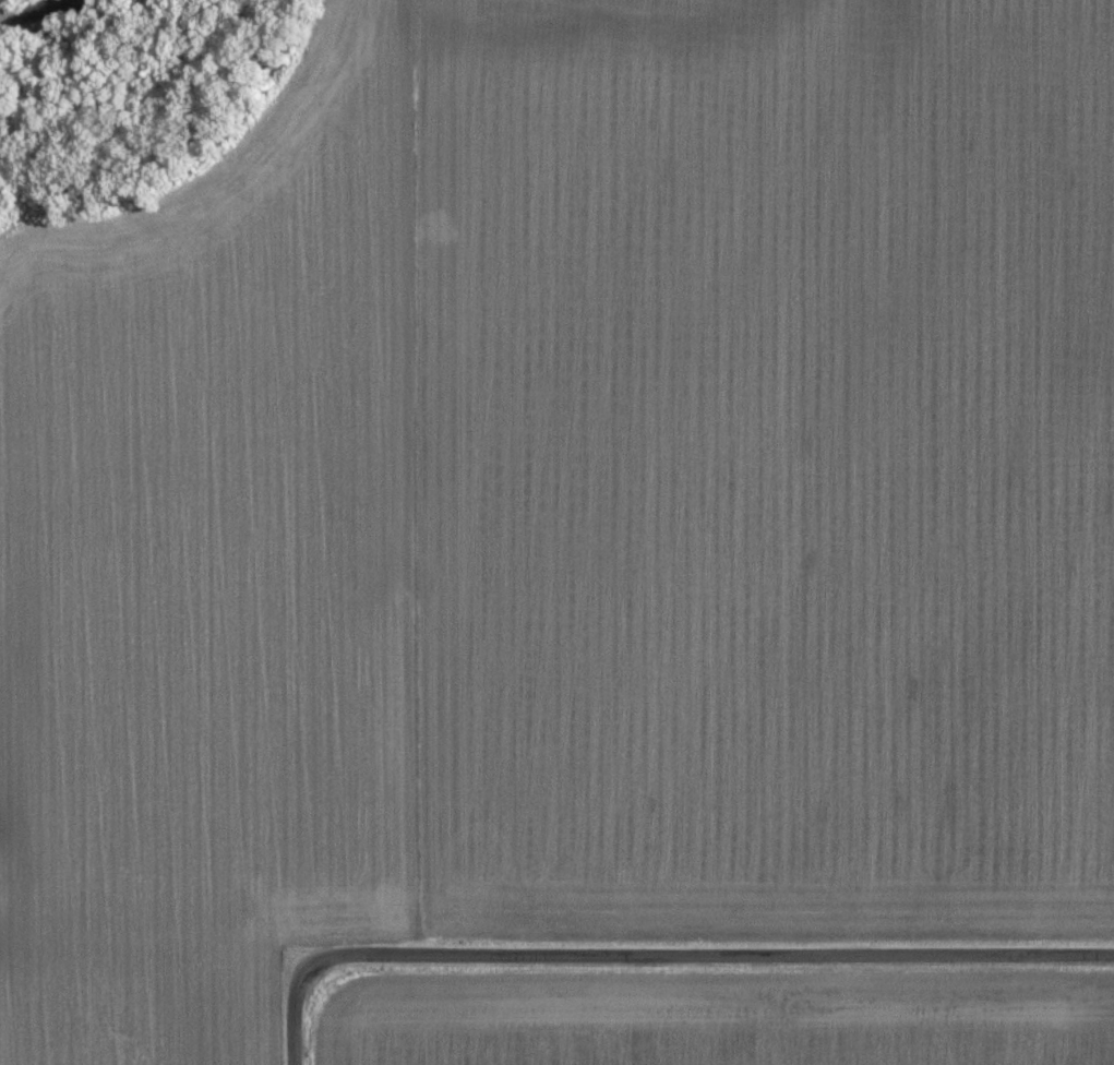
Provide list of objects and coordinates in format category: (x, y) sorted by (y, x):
road: (714, 971)
road: (312, 1026)

